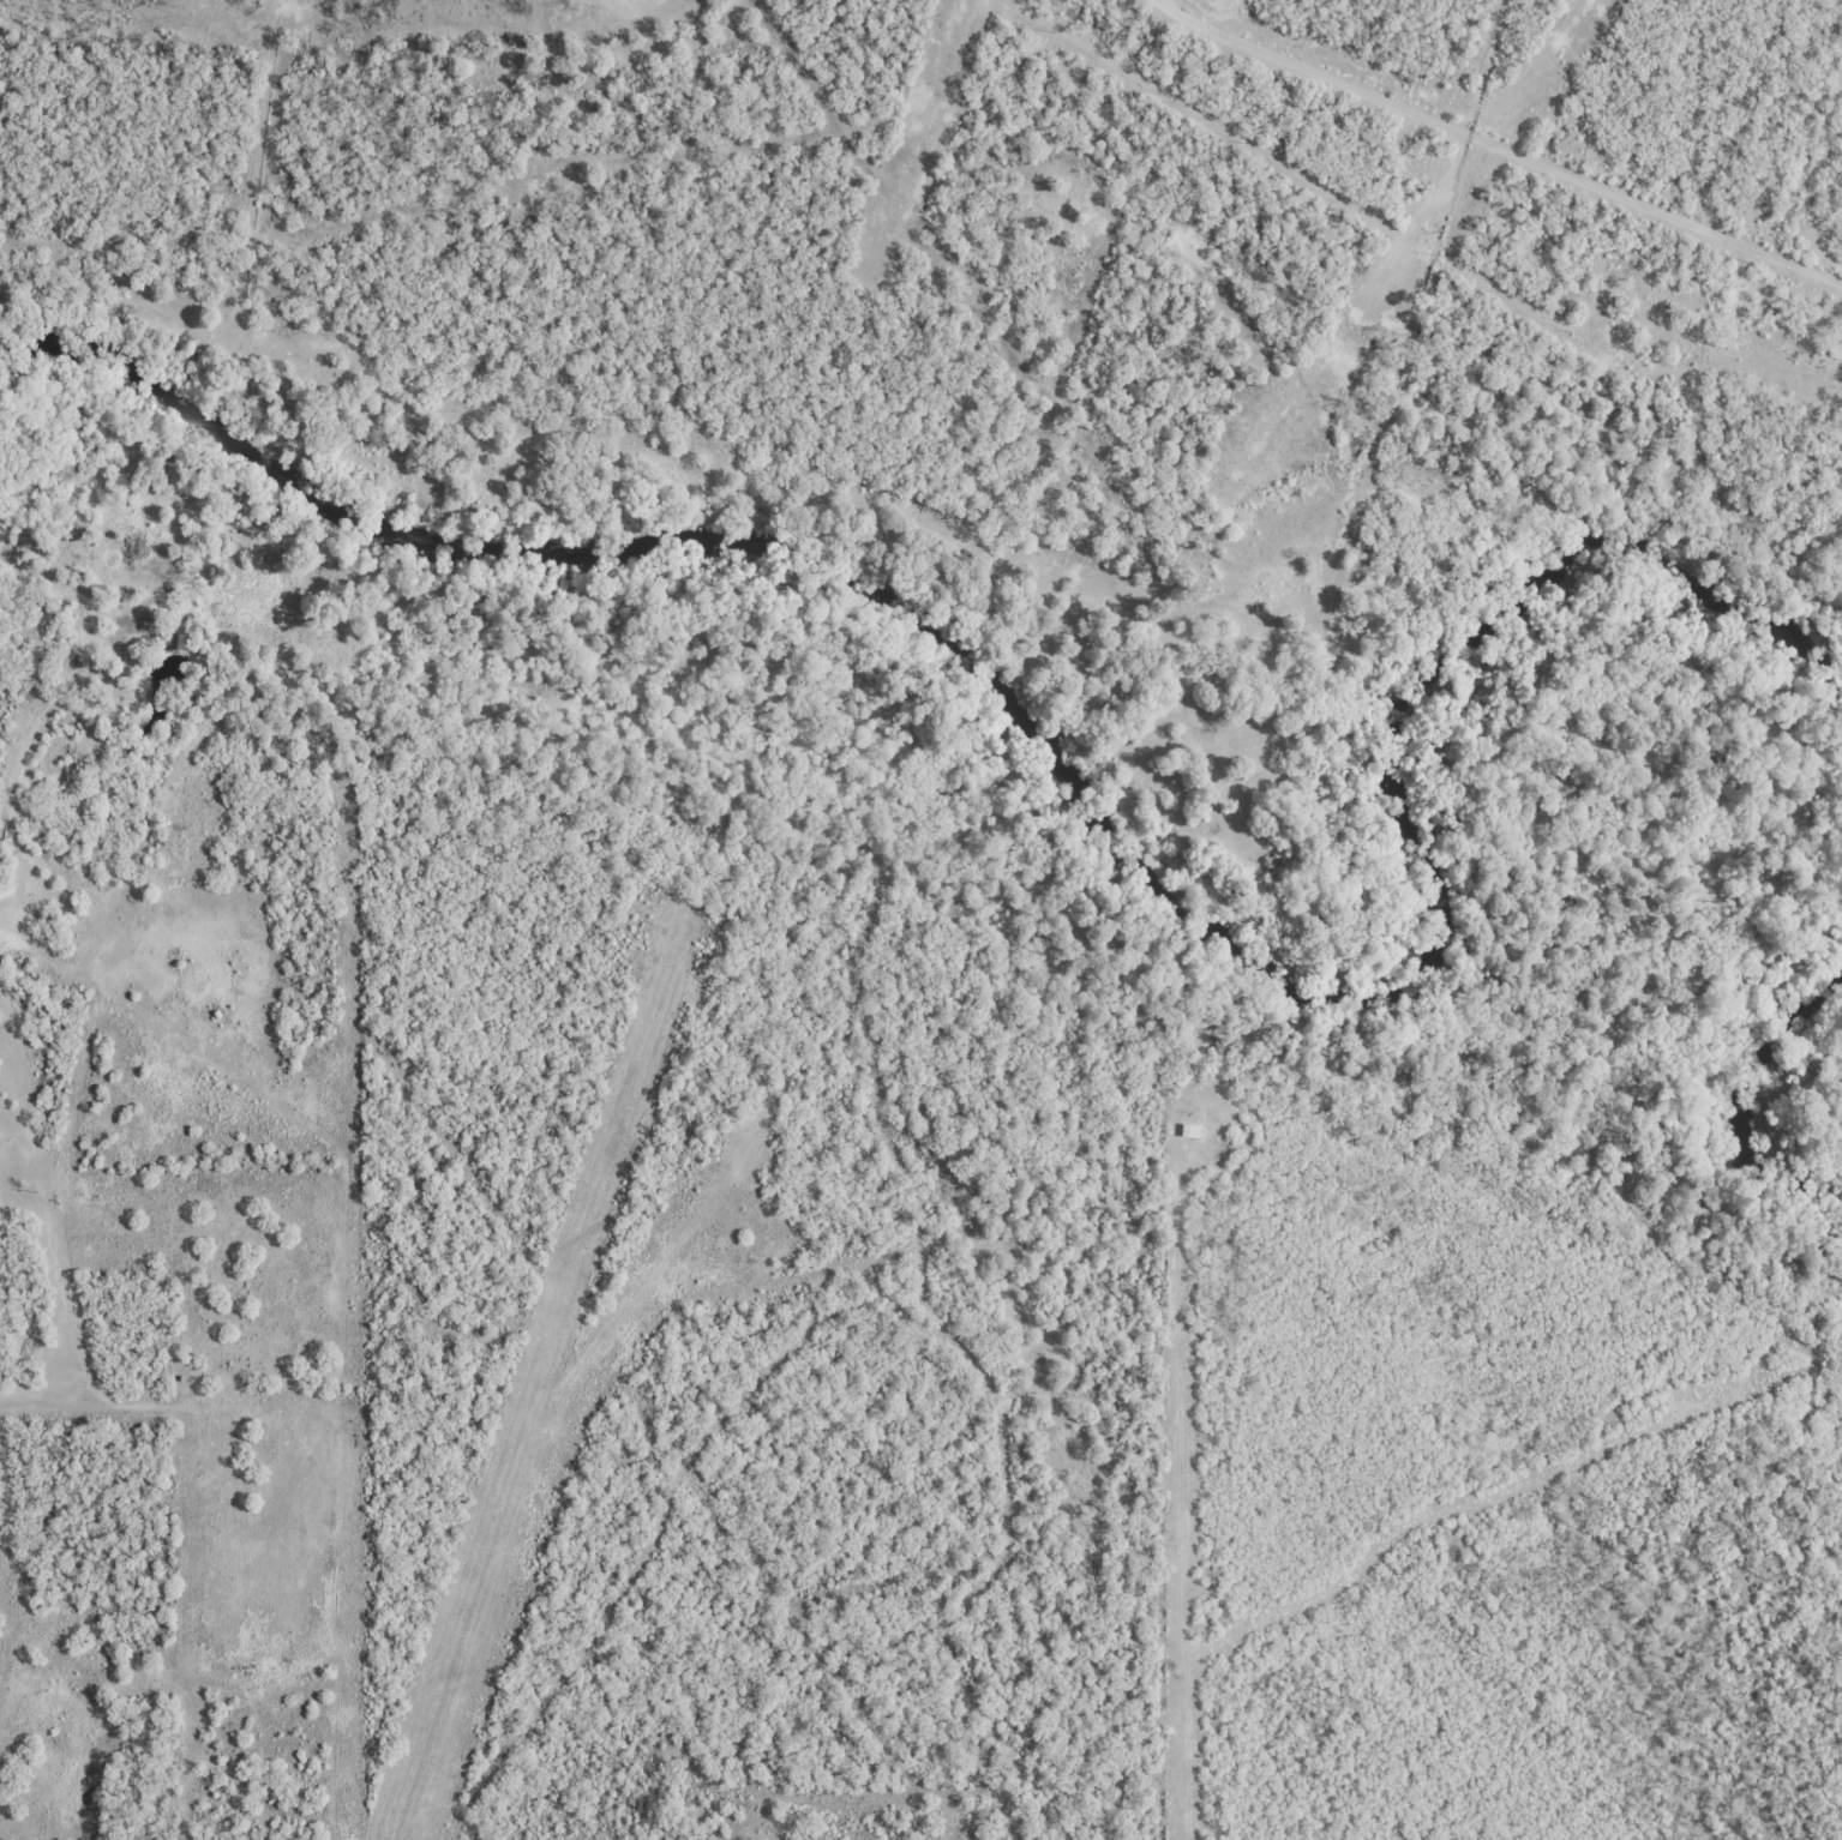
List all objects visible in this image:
road: (1495, 144)
building: (1835, 330)
river: (1085, 783)
river: (1742, 1087)
building: (1186, 1131)

